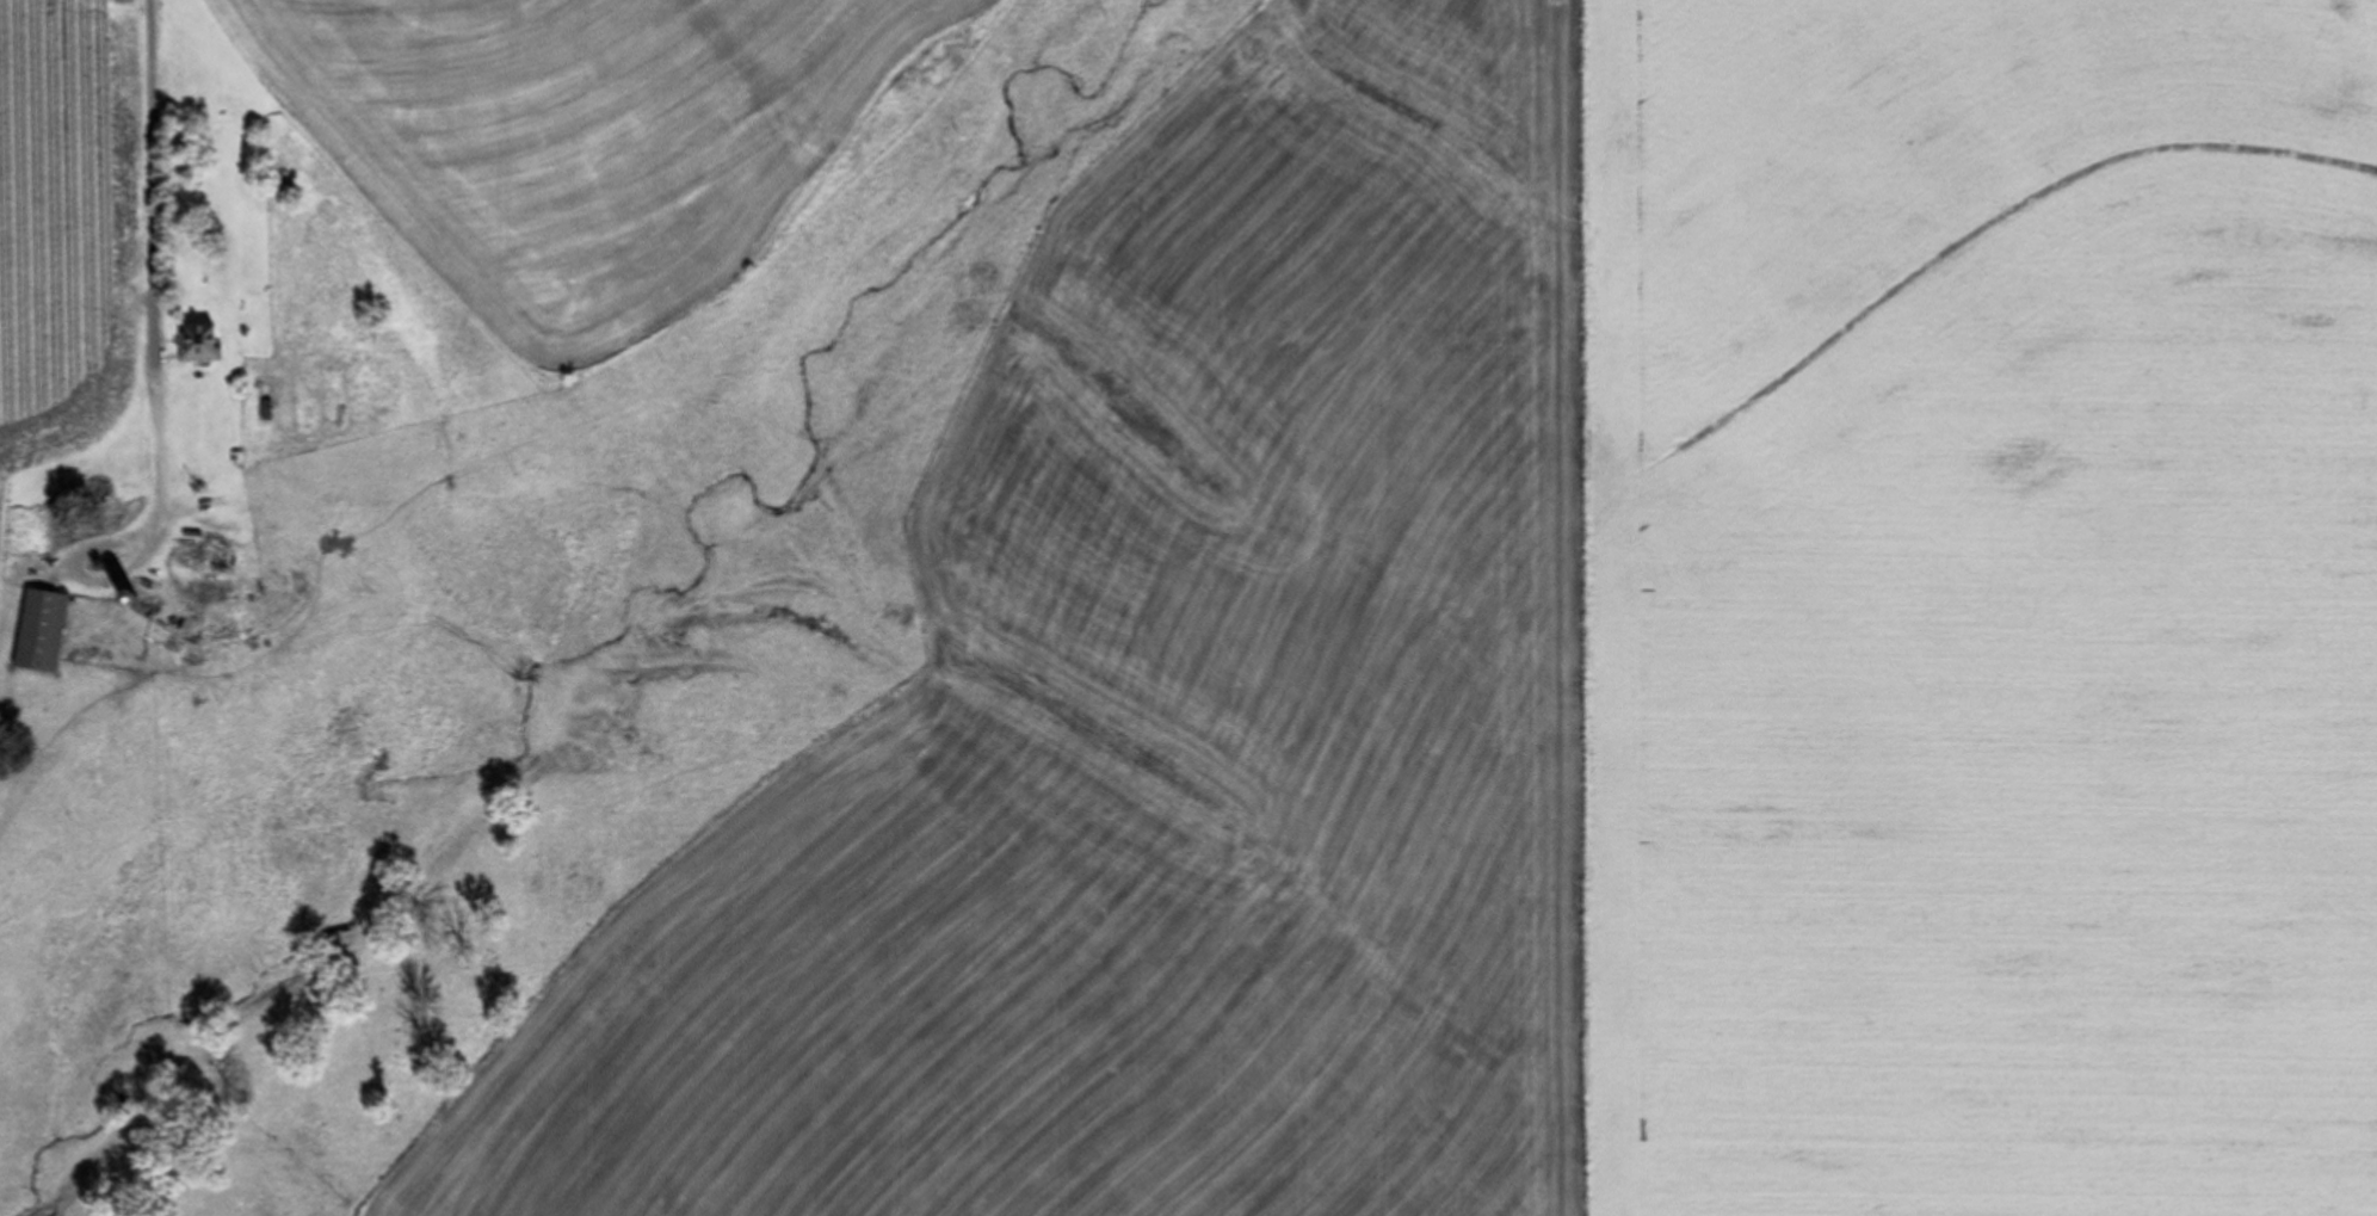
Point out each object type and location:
road: (154, 199)
building: (197, 345)
building: (121, 599)
building: (38, 632)

